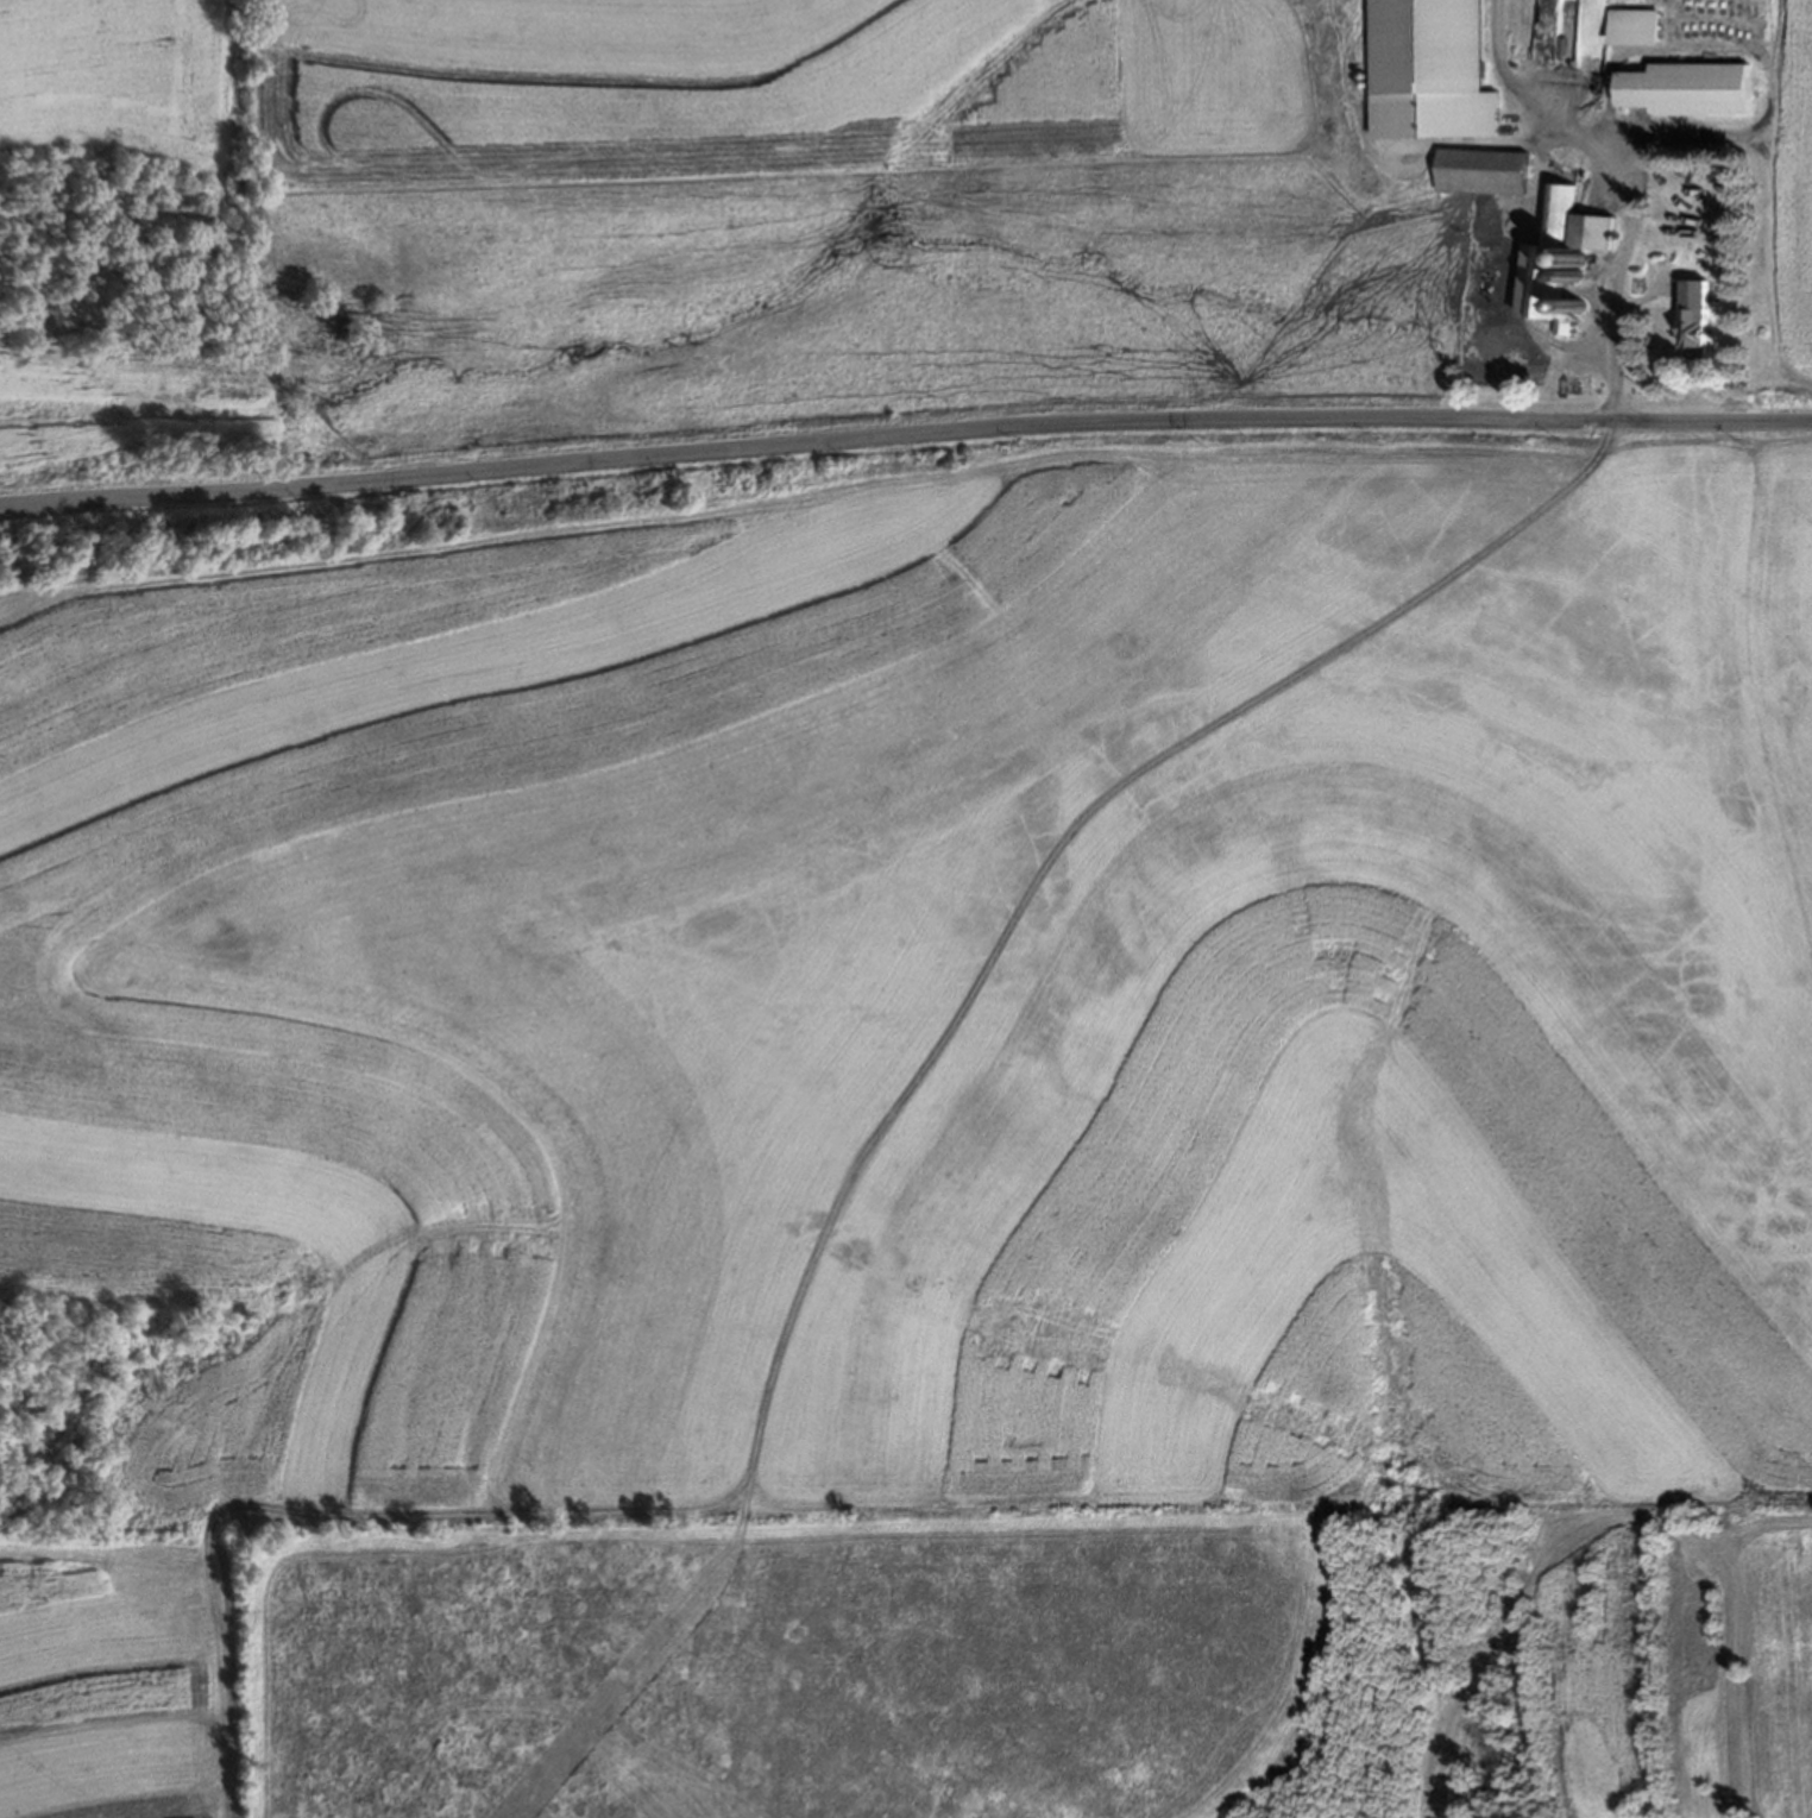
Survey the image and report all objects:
building: (1429, 46)
building: (1685, 88)
building: (1481, 171)
building: (1560, 259)
road: (1615, 275)
building: (1693, 317)
building: (1573, 385)
road: (904, 435)

